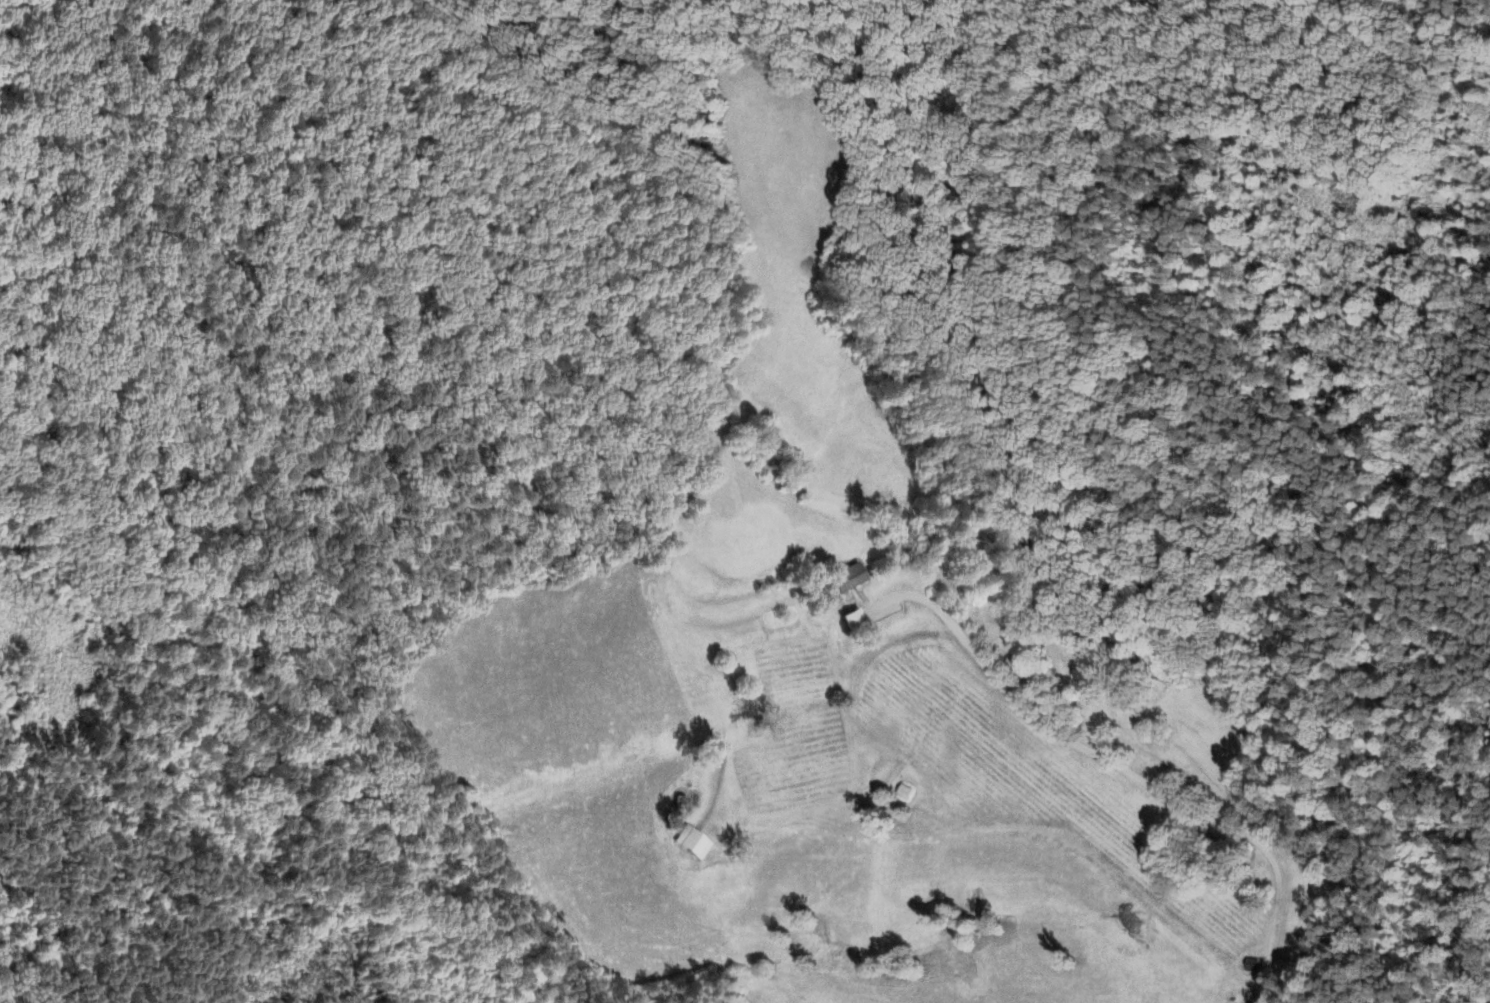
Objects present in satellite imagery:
building: (846, 581)
building: (874, 614)
road: (1047, 722)
building: (693, 844)
road: (1273, 920)

